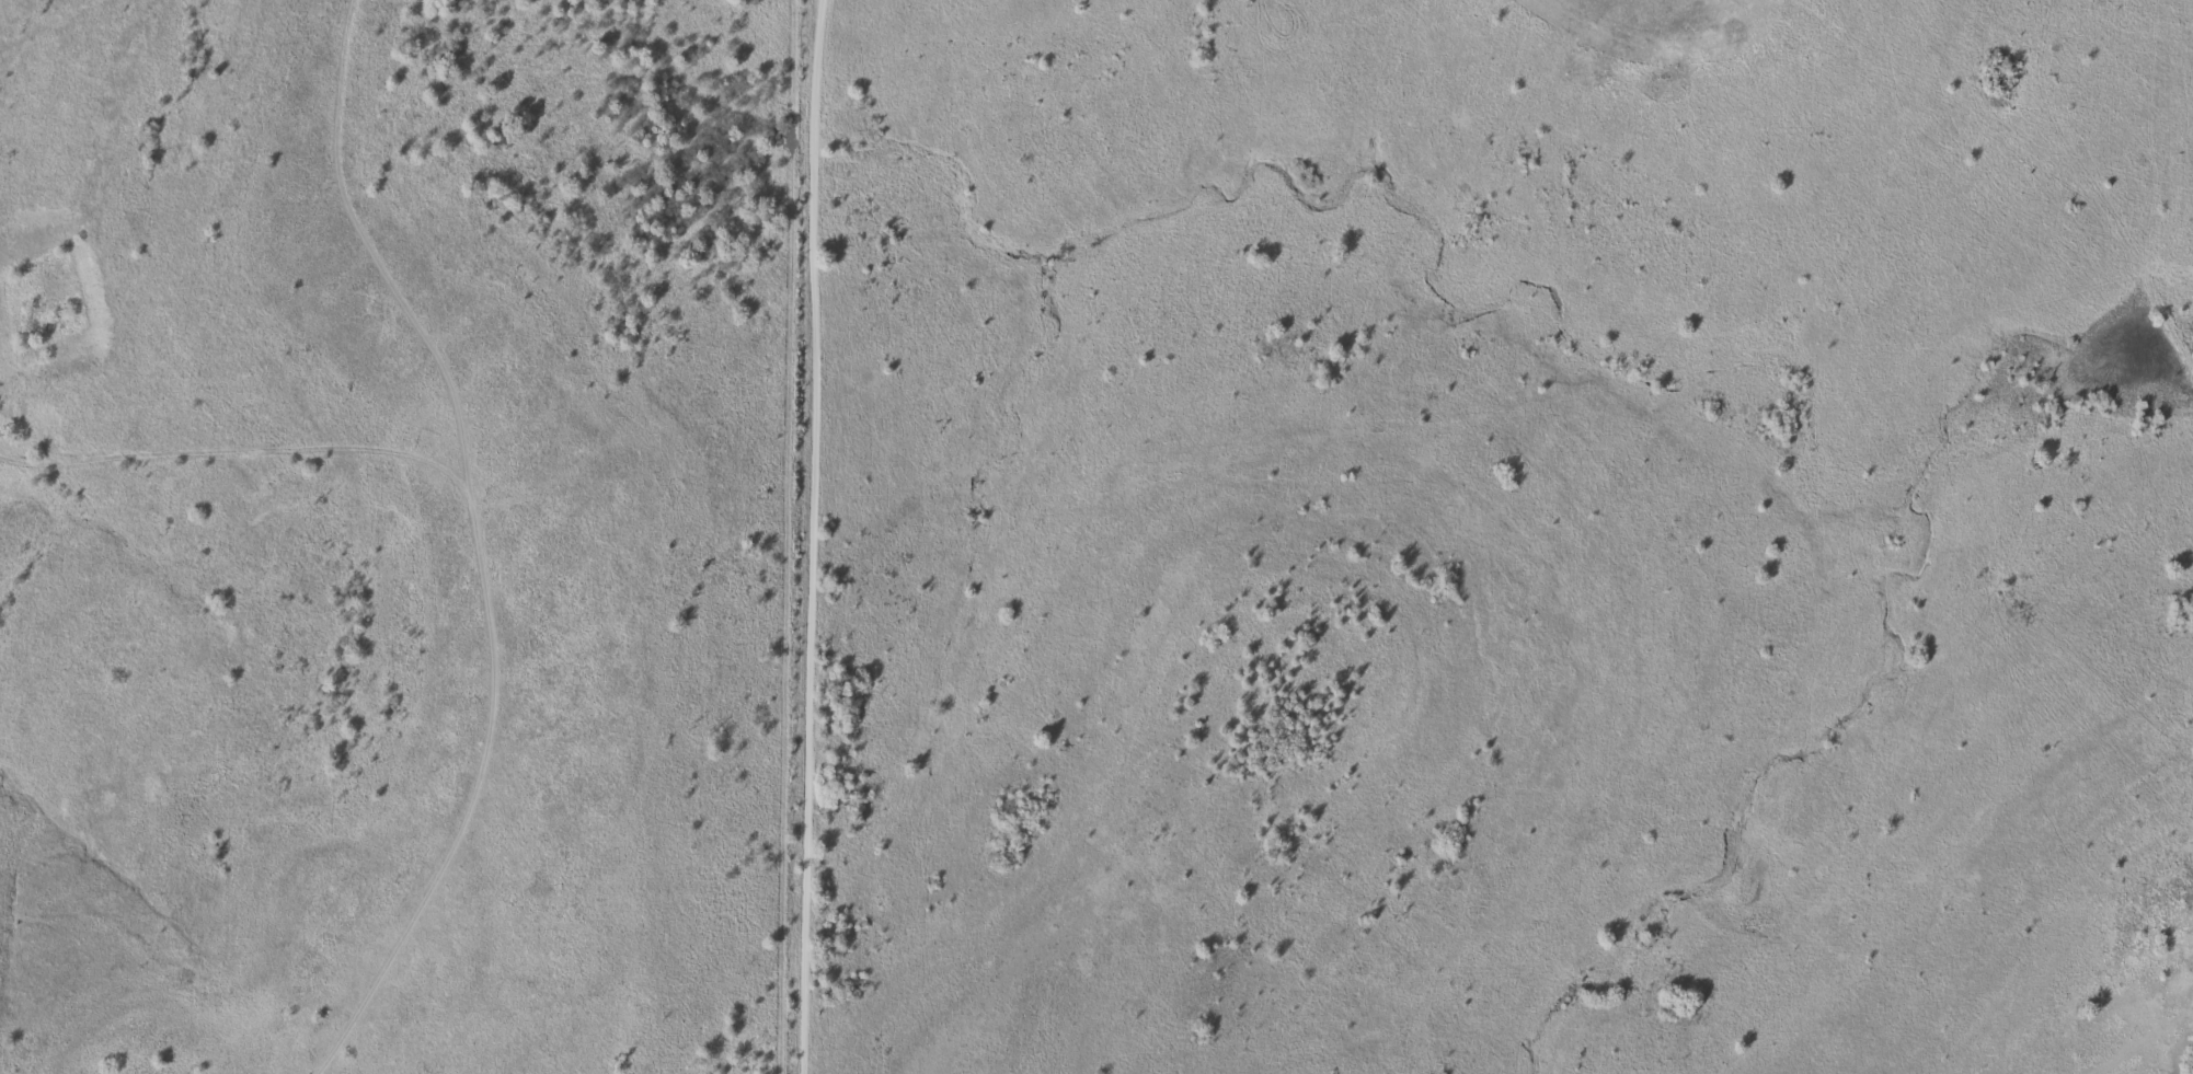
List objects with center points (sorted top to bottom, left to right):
road: (806, 536)
road: (492, 575)
building: (1260, 688)
building: (2191, 1064)

